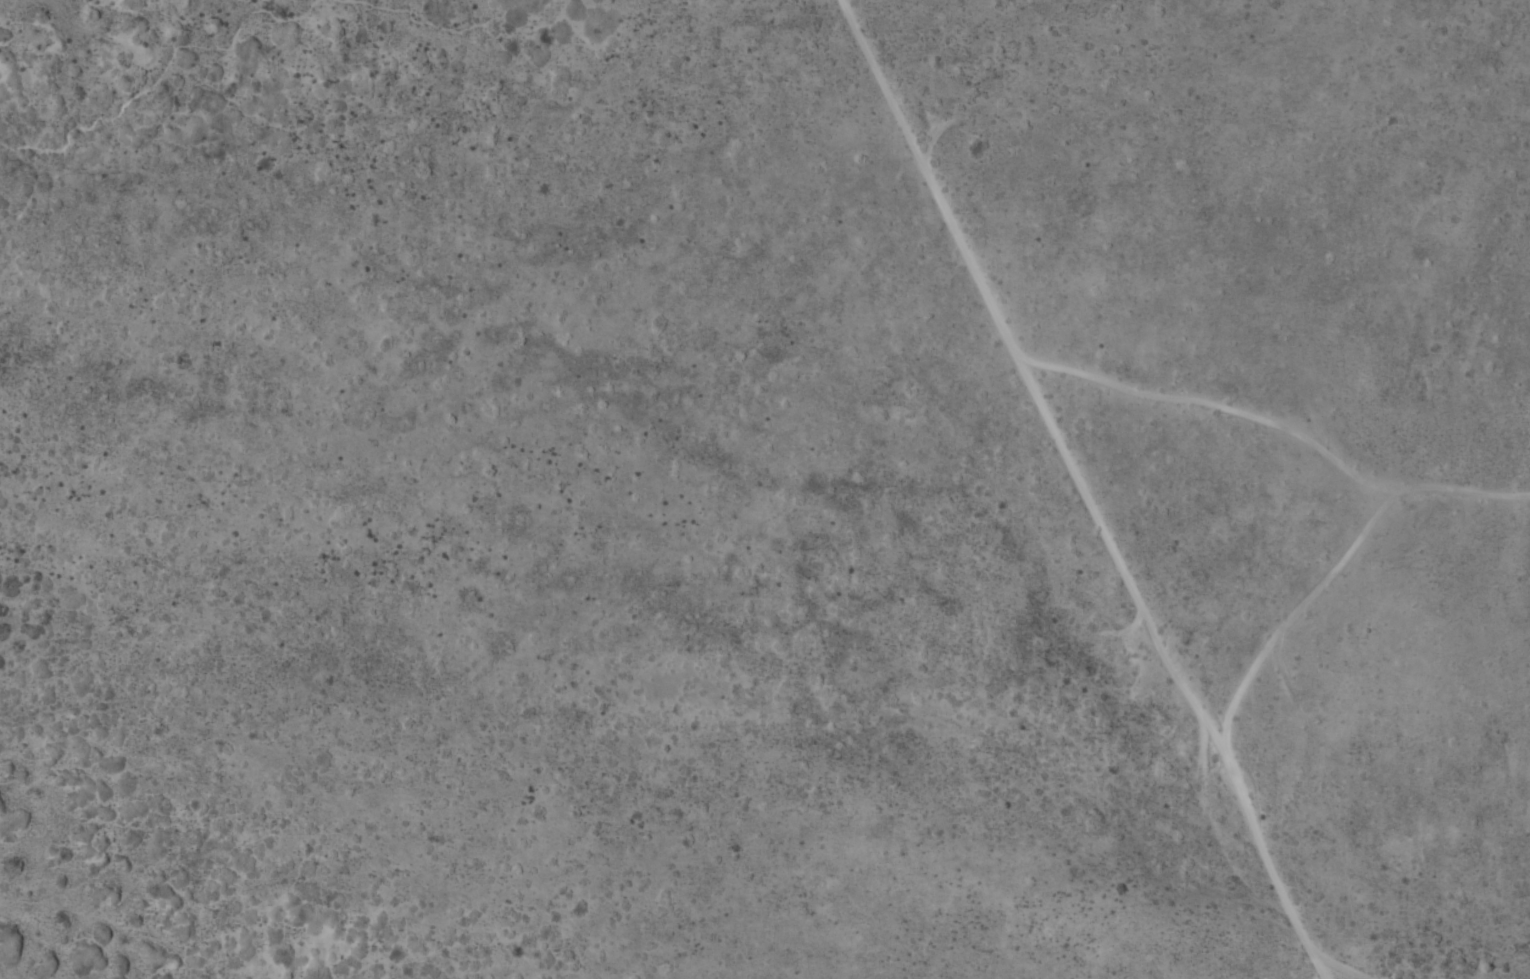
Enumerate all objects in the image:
road: (1101, 365)
road: (1293, 583)
road: (1192, 669)

